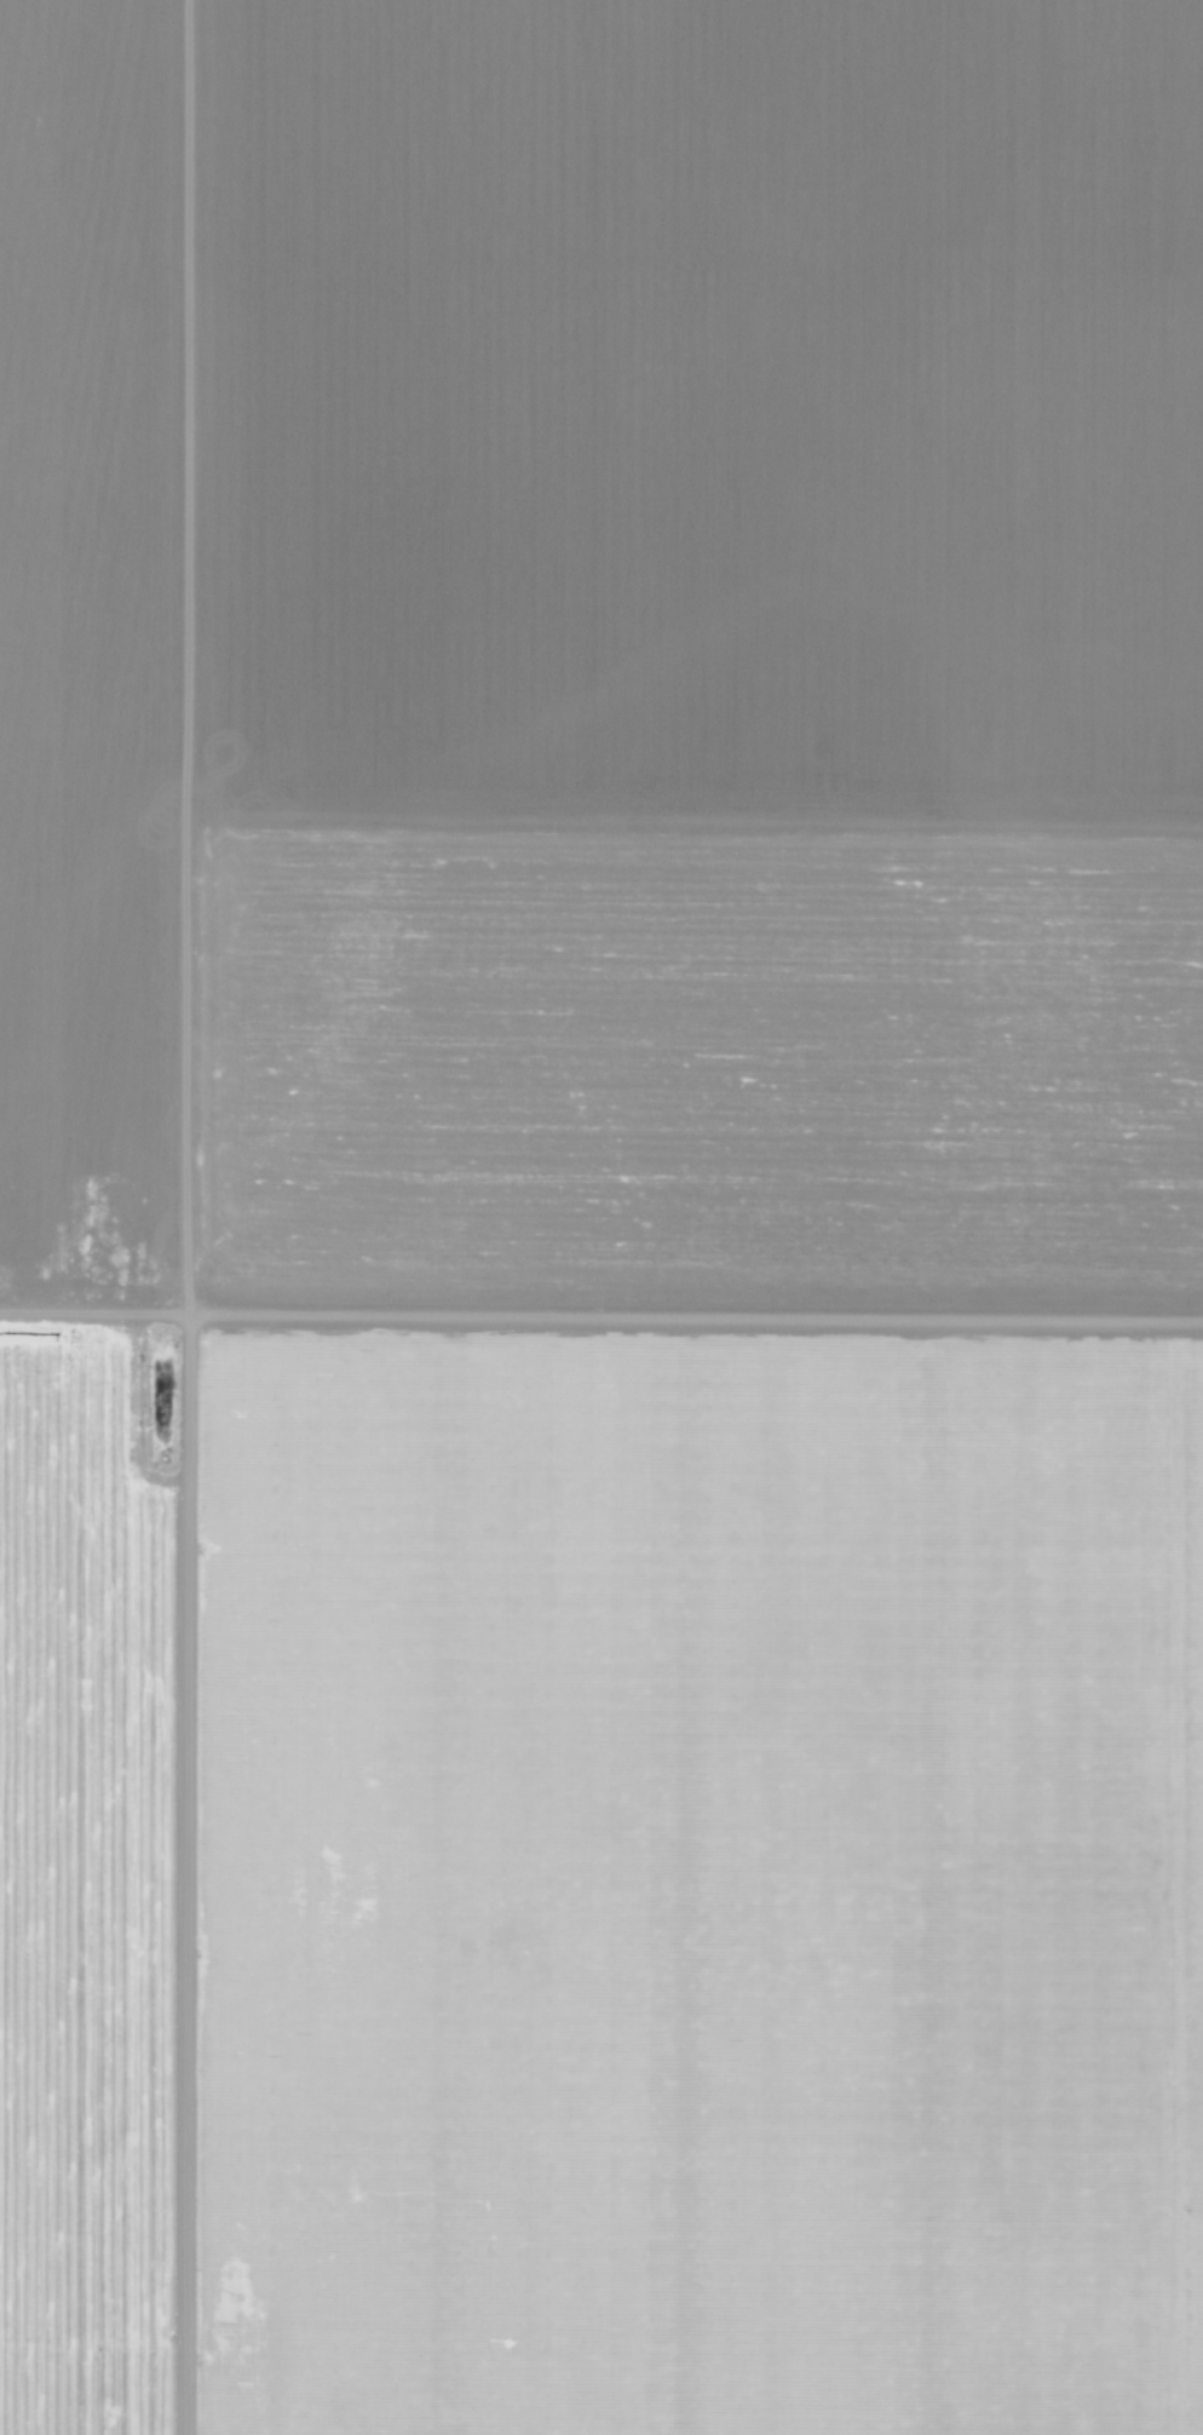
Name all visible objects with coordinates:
road: (236, 1217)
road: (600, 1306)
crop: (76, 1870)
crop: (678, 1878)

